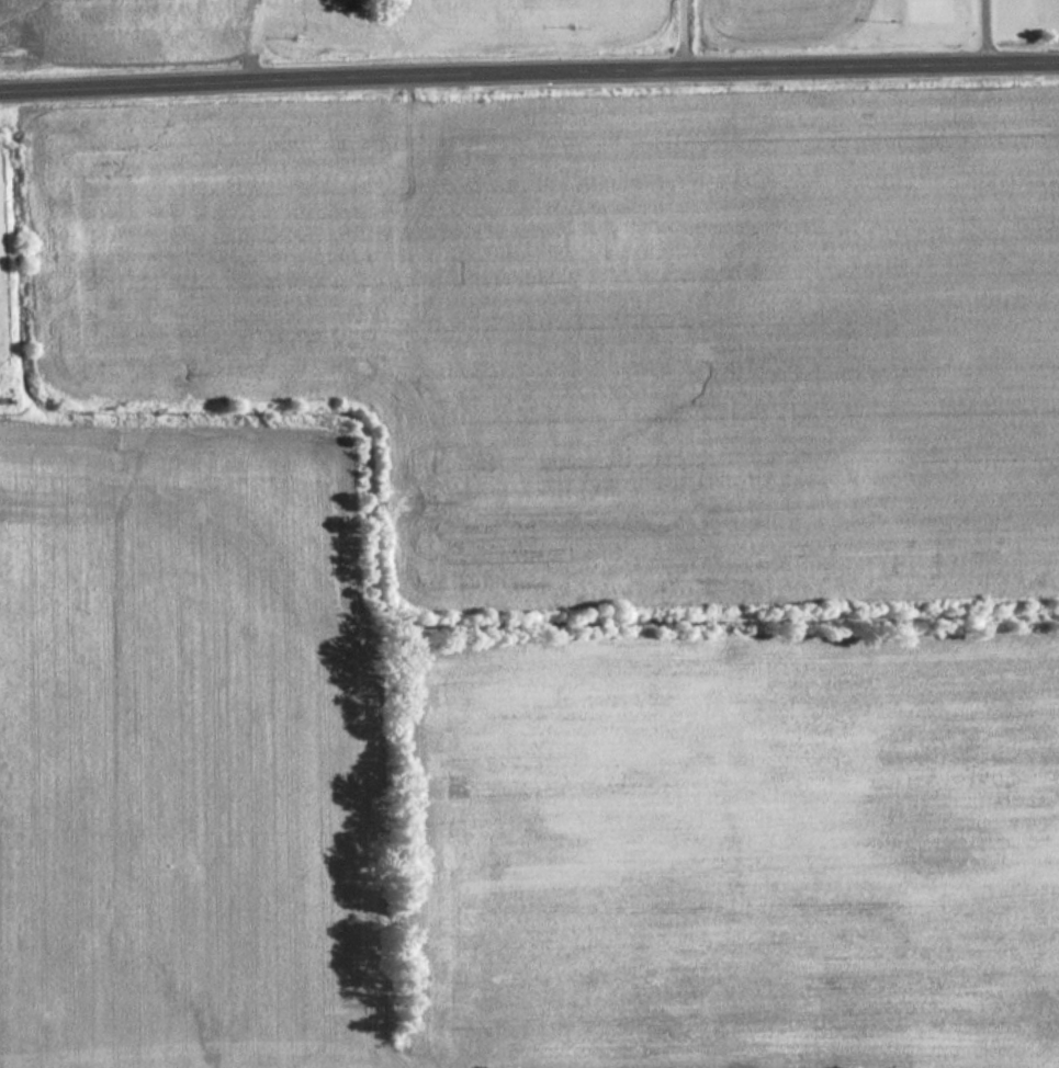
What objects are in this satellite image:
road: (529, 78)

